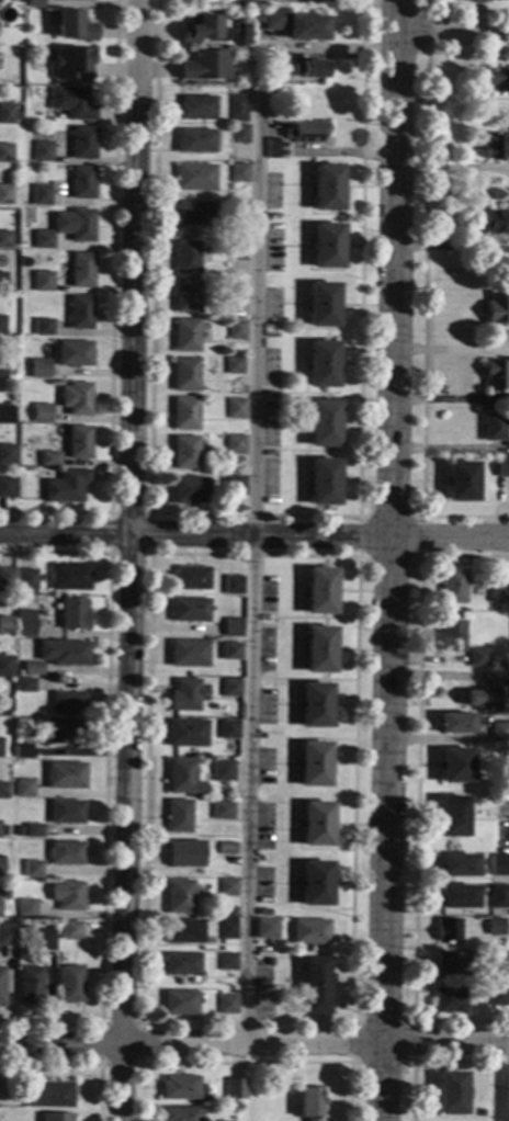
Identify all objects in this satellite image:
building: (59, 0)
building: (80, 0)
building: (475, 1)
building: (242, 2)
building: (32, 3)
road: (461, 12)
building: (73, 25)
building: (295, 25)
building: (197, 27)
road: (428, 33)
road: (452, 33)
building: (71, 64)
building: (265, 65)
building: (203, 66)
building: (310, 69)
building: (497, 80)
building: (71, 103)
building: (194, 107)
building: (236, 109)
building: (5, 114)
building: (306, 133)
building: (237, 134)
building: (193, 141)
building: (82, 144)
building: (496, 147)
building: (274, 149)
building: (42, 151)
building: (4, 154)
building: (237, 173)
building: (193, 177)
building: (81, 183)
building: (326, 188)
building: (3, 194)
building: (41, 195)
building: (237, 211)
building: (193, 214)
building: (495, 223)
building: (75, 225)
building: (4, 239)
building: (43, 239)
building: (326, 246)
building: (236, 250)
building: (185, 258)
building: (80, 270)
building: (2, 282)
building: (43, 282)
road: (422, 288)
building: (236, 290)
building: (185, 295)
building: (321, 305)
building: (497, 308)
building: (80, 312)
road: (111, 312)
building: (2, 326)
building: (43, 328)
building: (235, 330)
building: (185, 336)
building: (73, 354)
building: (321, 364)
building: (233, 365)
building: (39, 369)
building: (2, 370)
building: (184, 374)
building: (495, 374)
building: (76, 398)
building: (234, 408)
building: (42, 414)
building: (184, 414)
building: (4, 415)
building: (323, 423)
building: (493, 427)
building: (78, 442)
building: (233, 445)
building: (184, 452)
building: (7, 454)
building: (49, 460)
building: (501, 467)
building: (461, 482)
building: (321, 483)
building: (66, 486)
building: (231, 486)
building: (5, 488)
building: (188, 490)
road: (253, 514)
road: (361, 517)
road: (253, 536)
road: (147, 555)
road: (147, 557)
road: (464, 557)
road: (416, 558)
road: (385, 559)
road: (129, 560)
road: (253, 565)
road: (407, 576)
building: (7, 577)
building: (69, 577)
building: (188, 578)
building: (25, 579)
building: (230, 585)
building: (452, 586)
building: (318, 590)
building: (498, 592)
building: (188, 610)
building: (72, 614)
building: (24, 623)
building: (4, 624)
building: (230, 629)
building: (452, 636)
building: (318, 649)
building: (228, 652)
building: (61, 653)
building: (186, 653)
building: (478, 658)
building: (4, 665)
building: (31, 669)
building: (23, 686)
building: (229, 688)
building: (186, 695)
building: (486, 698)
building: (67, 703)
building: (314, 705)
building: (237, 714)
building: (455, 723)
building: (227, 729)
building: (63, 732)
building: (499, 732)
building: (185, 733)
building: (22, 750)
building: (314, 763)
building: (454, 766)
building: (222, 771)
building: (64, 775)
building: (182, 778)
road: (104, 784)
building: (23, 789)
building: (3, 791)
building: (489, 795)
building: (222, 811)
building: (66, 812)
building: (179, 816)
building: (452, 816)
building: (21, 818)
building: (316, 824)
building: (33, 830)
building: (3, 831)
road: (416, 837)
building: (226, 848)
building: (66, 853)
building: (184, 853)
building: (498, 864)
building: (457, 865)
building: (1, 869)
building: (32, 869)
building: (316, 883)
building: (227, 886)
building: (67, 895)
building: (179, 896)
building: (499, 896)
building: (457, 897)
building: (25, 908)
building: (495, 926)
building: (226, 929)
building: (267, 929)
building: (448, 929)
building: (71, 930)
building: (309, 930)
building: (183, 931)
building: (5, 935)
building: (39, 940)
building: (226, 962)
building: (498, 963)
building: (181, 964)
building: (448, 964)
building: (1, 985)
building: (30, 985)
building: (70, 985)
building: (315, 986)
building: (498, 996)
building: (450, 1000)
building: (179, 1003)
building: (225, 1004)
road: (412, 1022)
road: (253, 1044)
road: (430, 1062)
road: (244, 1063)
road: (77, 1064)
road: (98, 1064)
road: (507, 1082)
building: (179, 1088)
building: (233, 1088)
building: (451, 1092)
building: (47, 1095)
building: (309, 1102)
building: (211, 1109)
building: (180, 1113)
building: (482, 1114)
building: (55, 1117)
building: (219, 1120)

